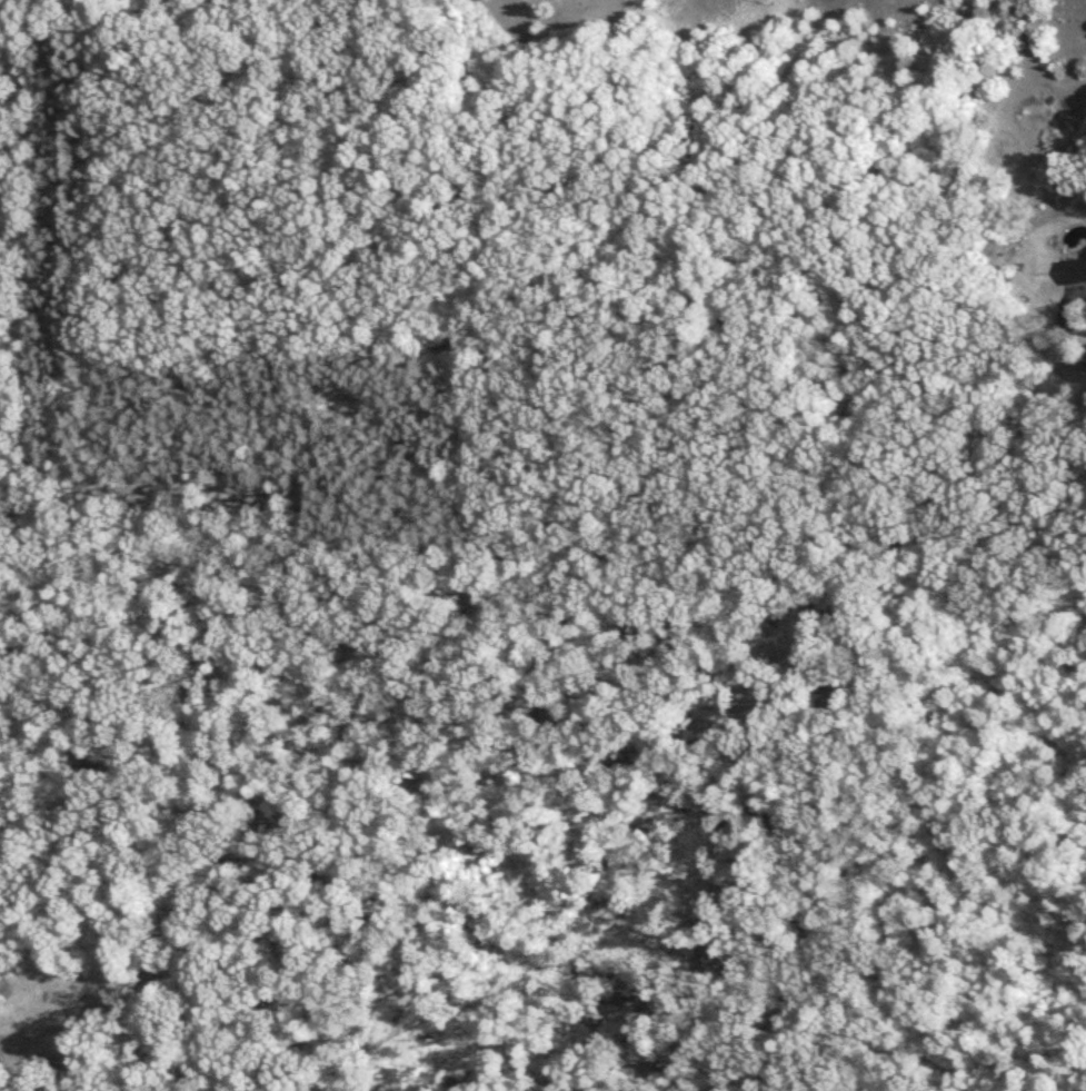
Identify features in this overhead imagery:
building: (520, 0)
building: (1075, 271)

